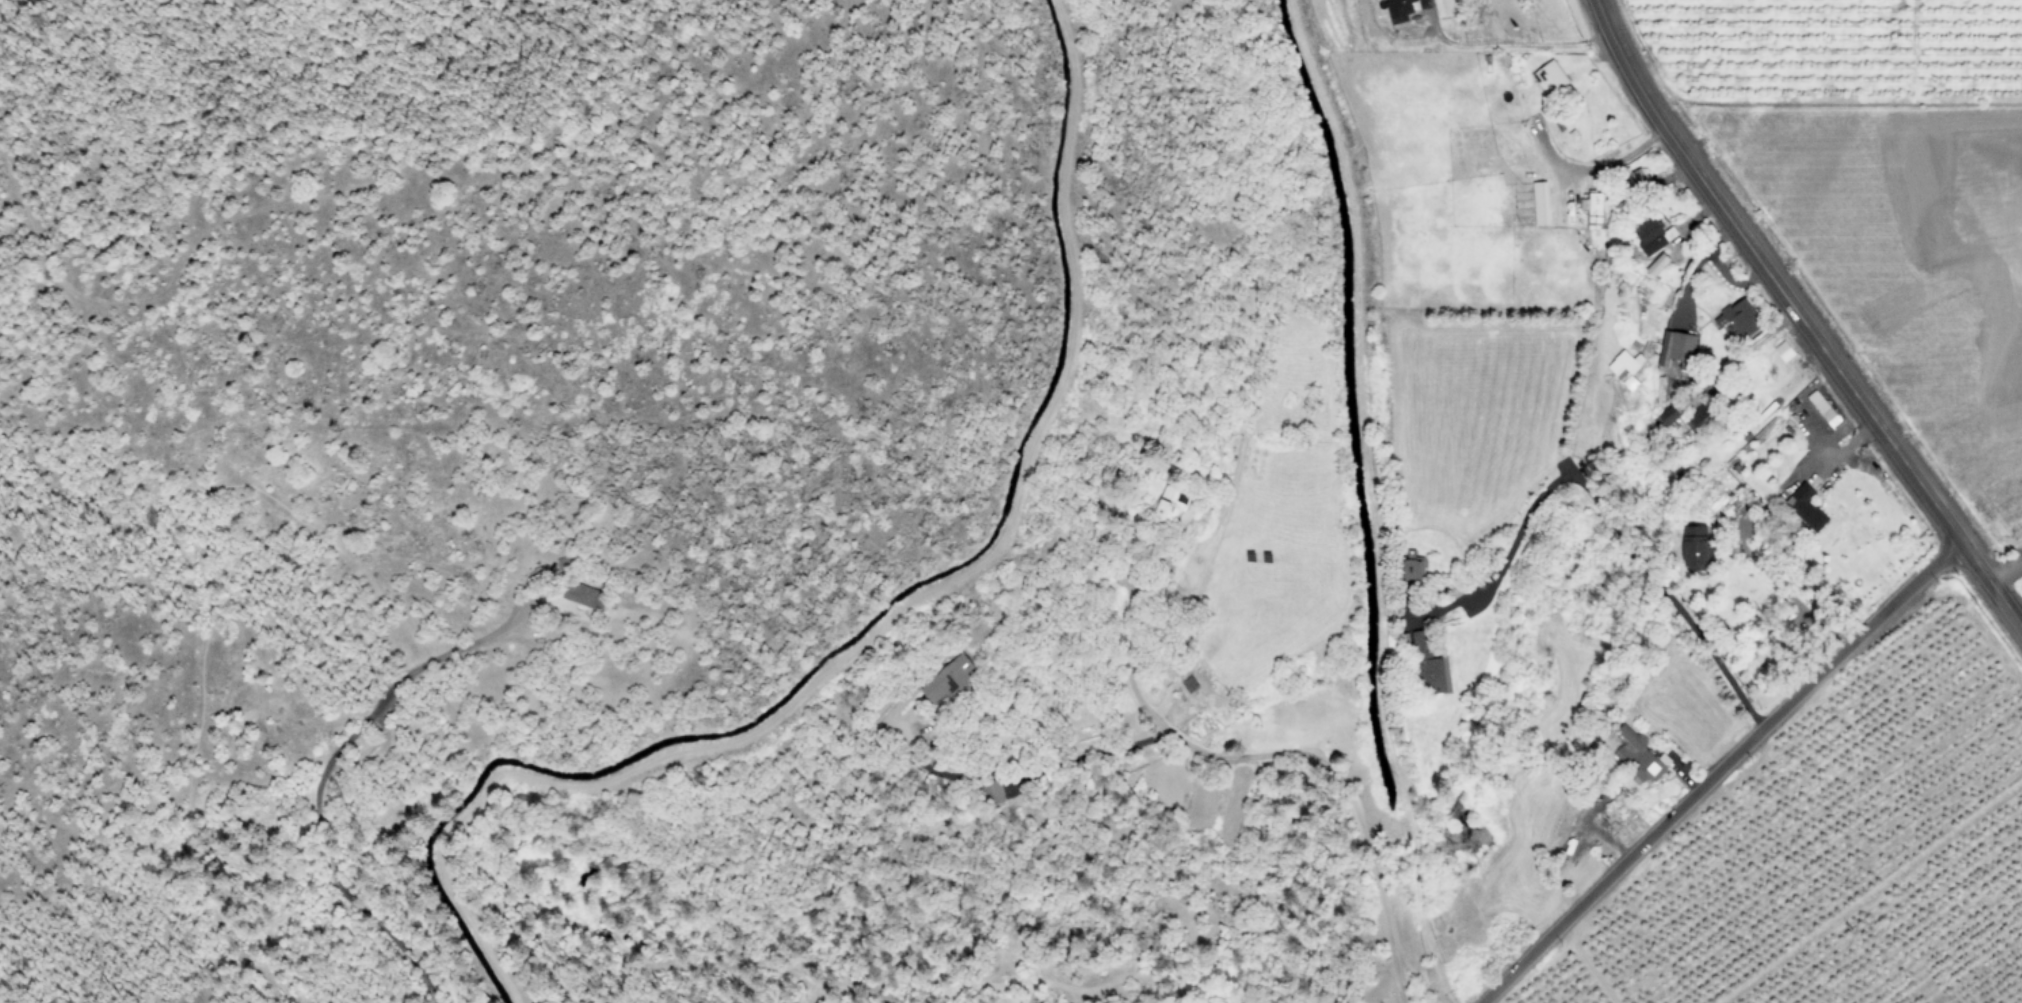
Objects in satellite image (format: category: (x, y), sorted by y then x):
building: (1400, 10)
building: (1550, 78)
building: (1636, 181)
building: (1540, 204)
building: (1593, 210)
building: (1653, 236)
building: (1657, 265)
road: (1802, 316)
building: (1739, 319)
building: (1678, 351)
building: (1784, 351)
building: (1626, 368)
building: (1669, 416)
building: (1700, 418)
building: (1170, 507)
building: (1807, 508)
building: (1695, 548)
building: (1412, 569)
building: (584, 595)
road: (878, 624)
building: (1427, 666)
building: (950, 678)
building: (1192, 685)
road: (1292, 754)
building: (1639, 756)
road: (1718, 772)
building: (993, 793)

